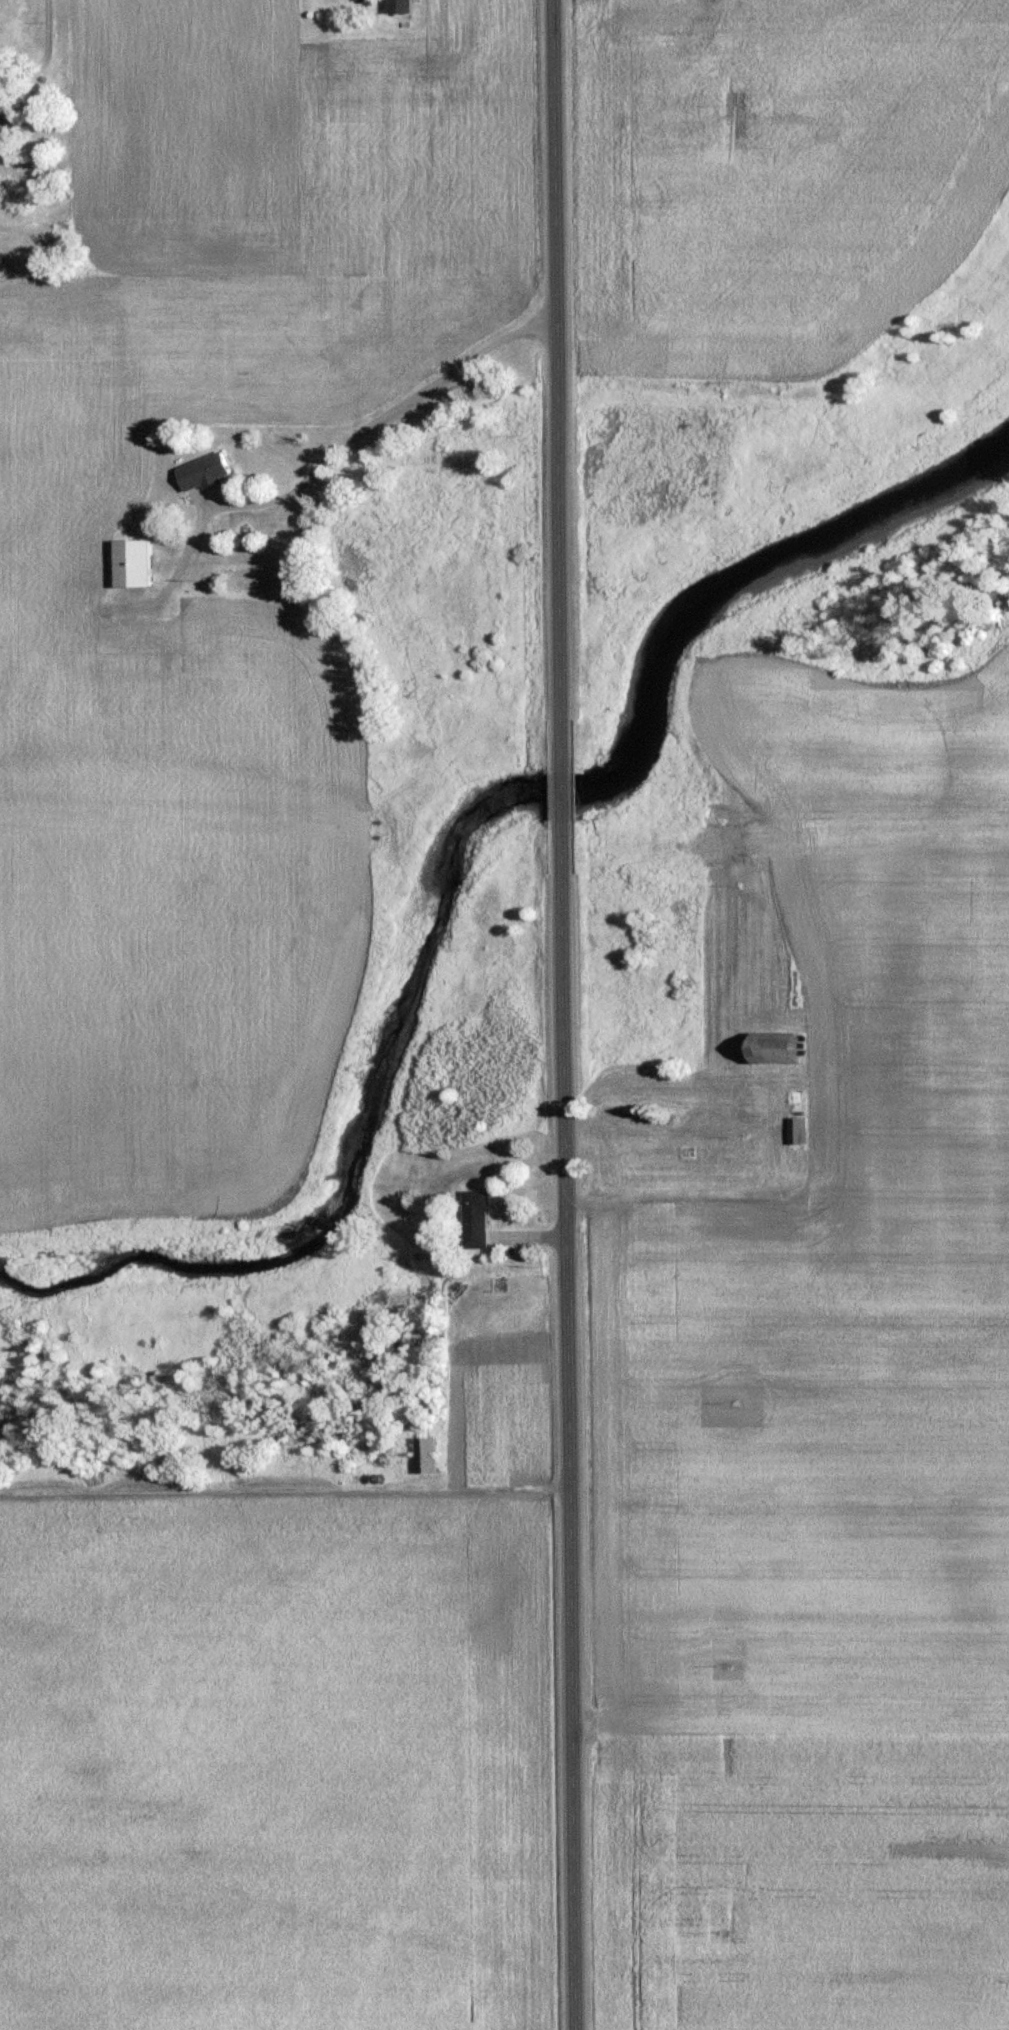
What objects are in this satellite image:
building: (397, 7)
road: (45, 54)
road: (556, 378)
road: (378, 415)
building: (201, 472)
building: (130, 563)
road: (563, 794)
river: (441, 848)
building: (771, 1048)
building: (795, 1131)
building: (474, 1219)
road: (569, 1431)
building: (425, 1456)

